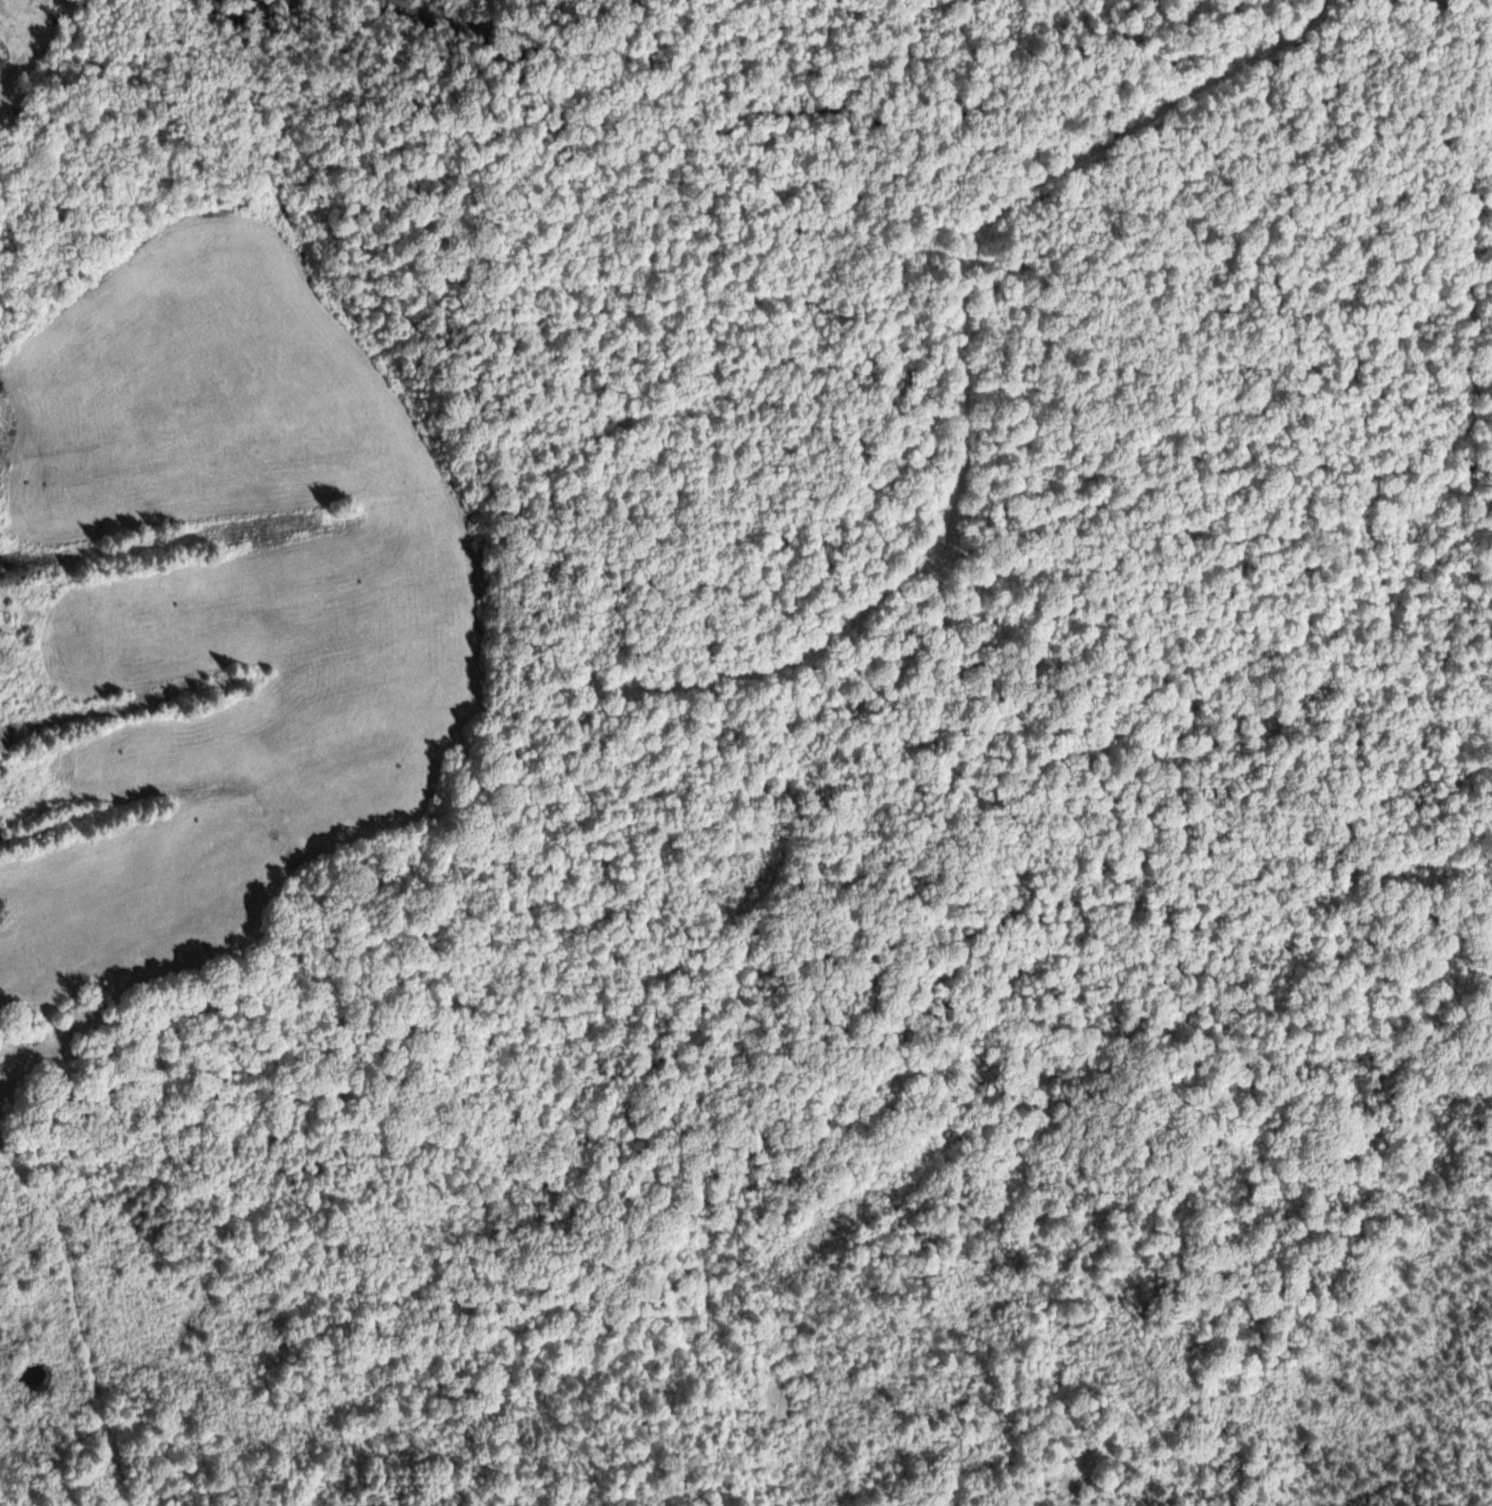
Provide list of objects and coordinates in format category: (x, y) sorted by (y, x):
building: (2, 57)

